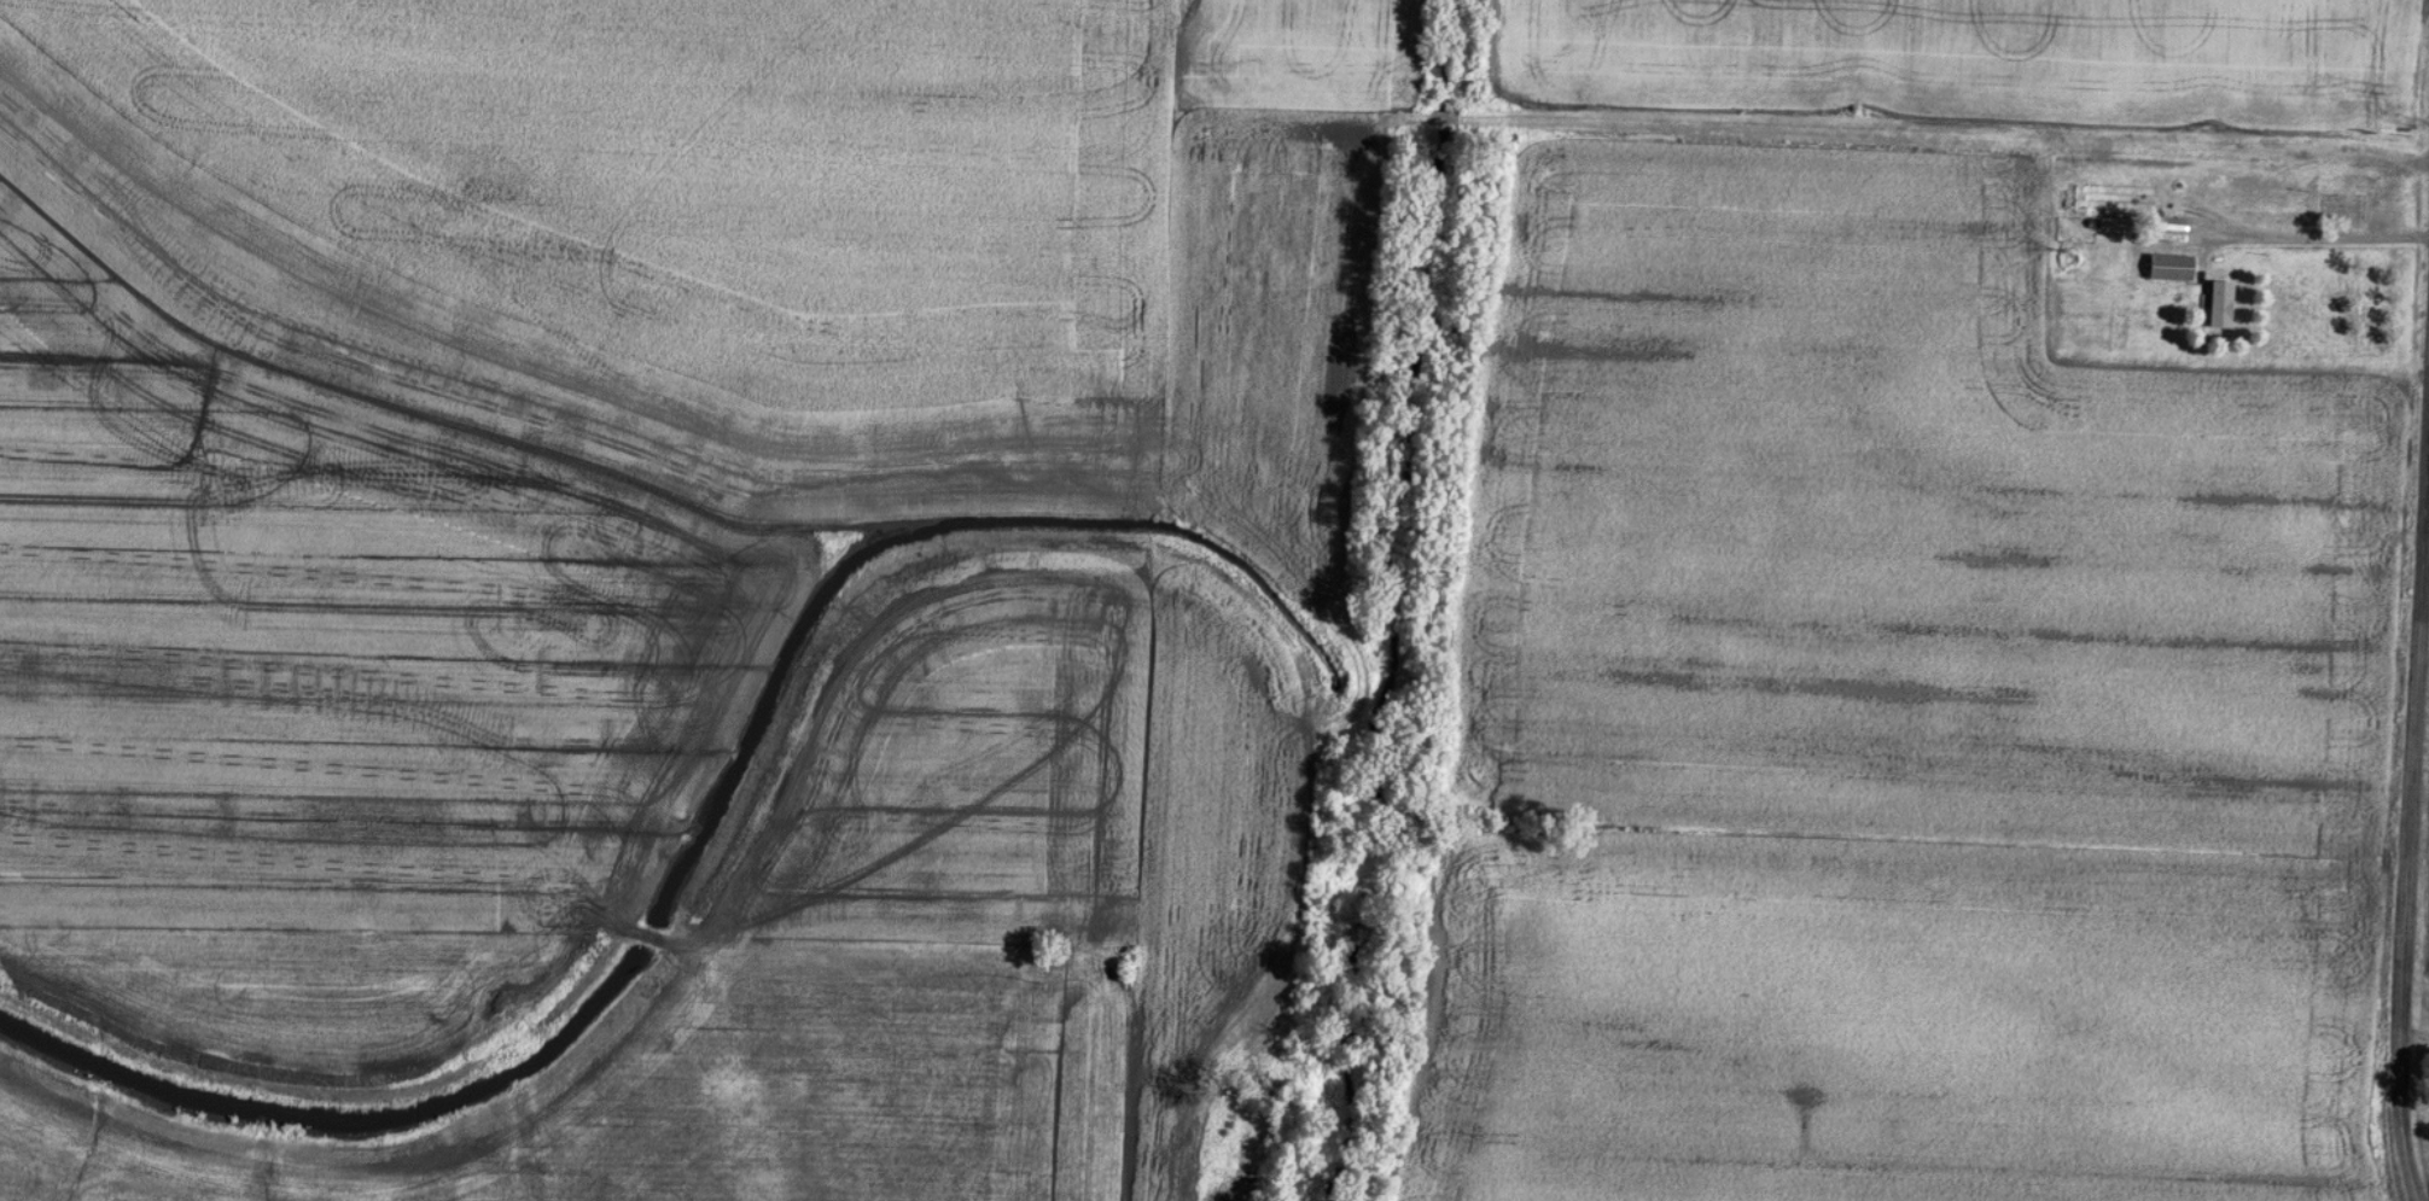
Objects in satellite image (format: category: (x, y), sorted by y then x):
building: (2069, 204)
road: (2295, 239)
building: (2165, 267)
building: (2215, 304)
road: (2408, 806)
road: (2413, 1039)

